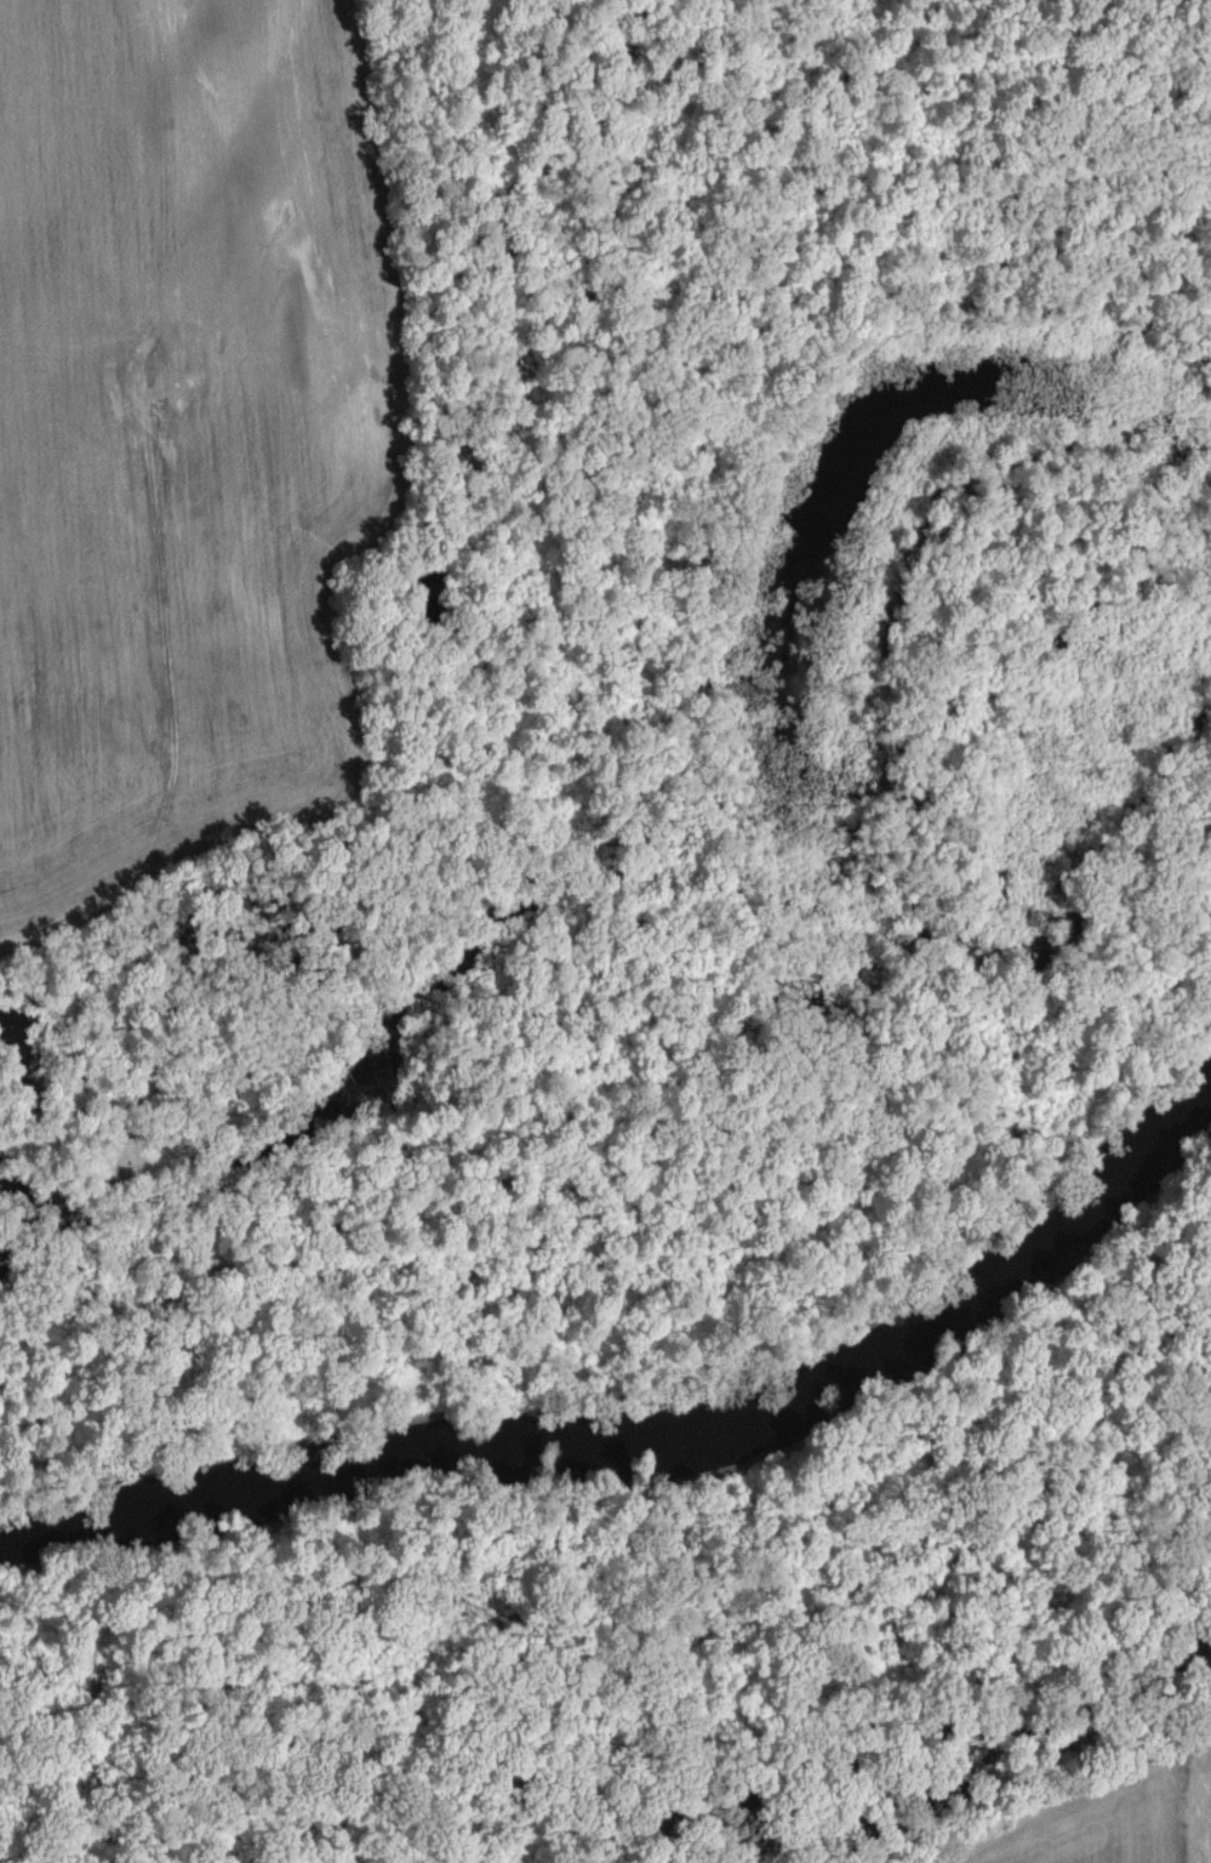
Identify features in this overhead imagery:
road: (104, 907)
road: (166, 1015)
river: (656, 1411)
road: (1184, 1791)

